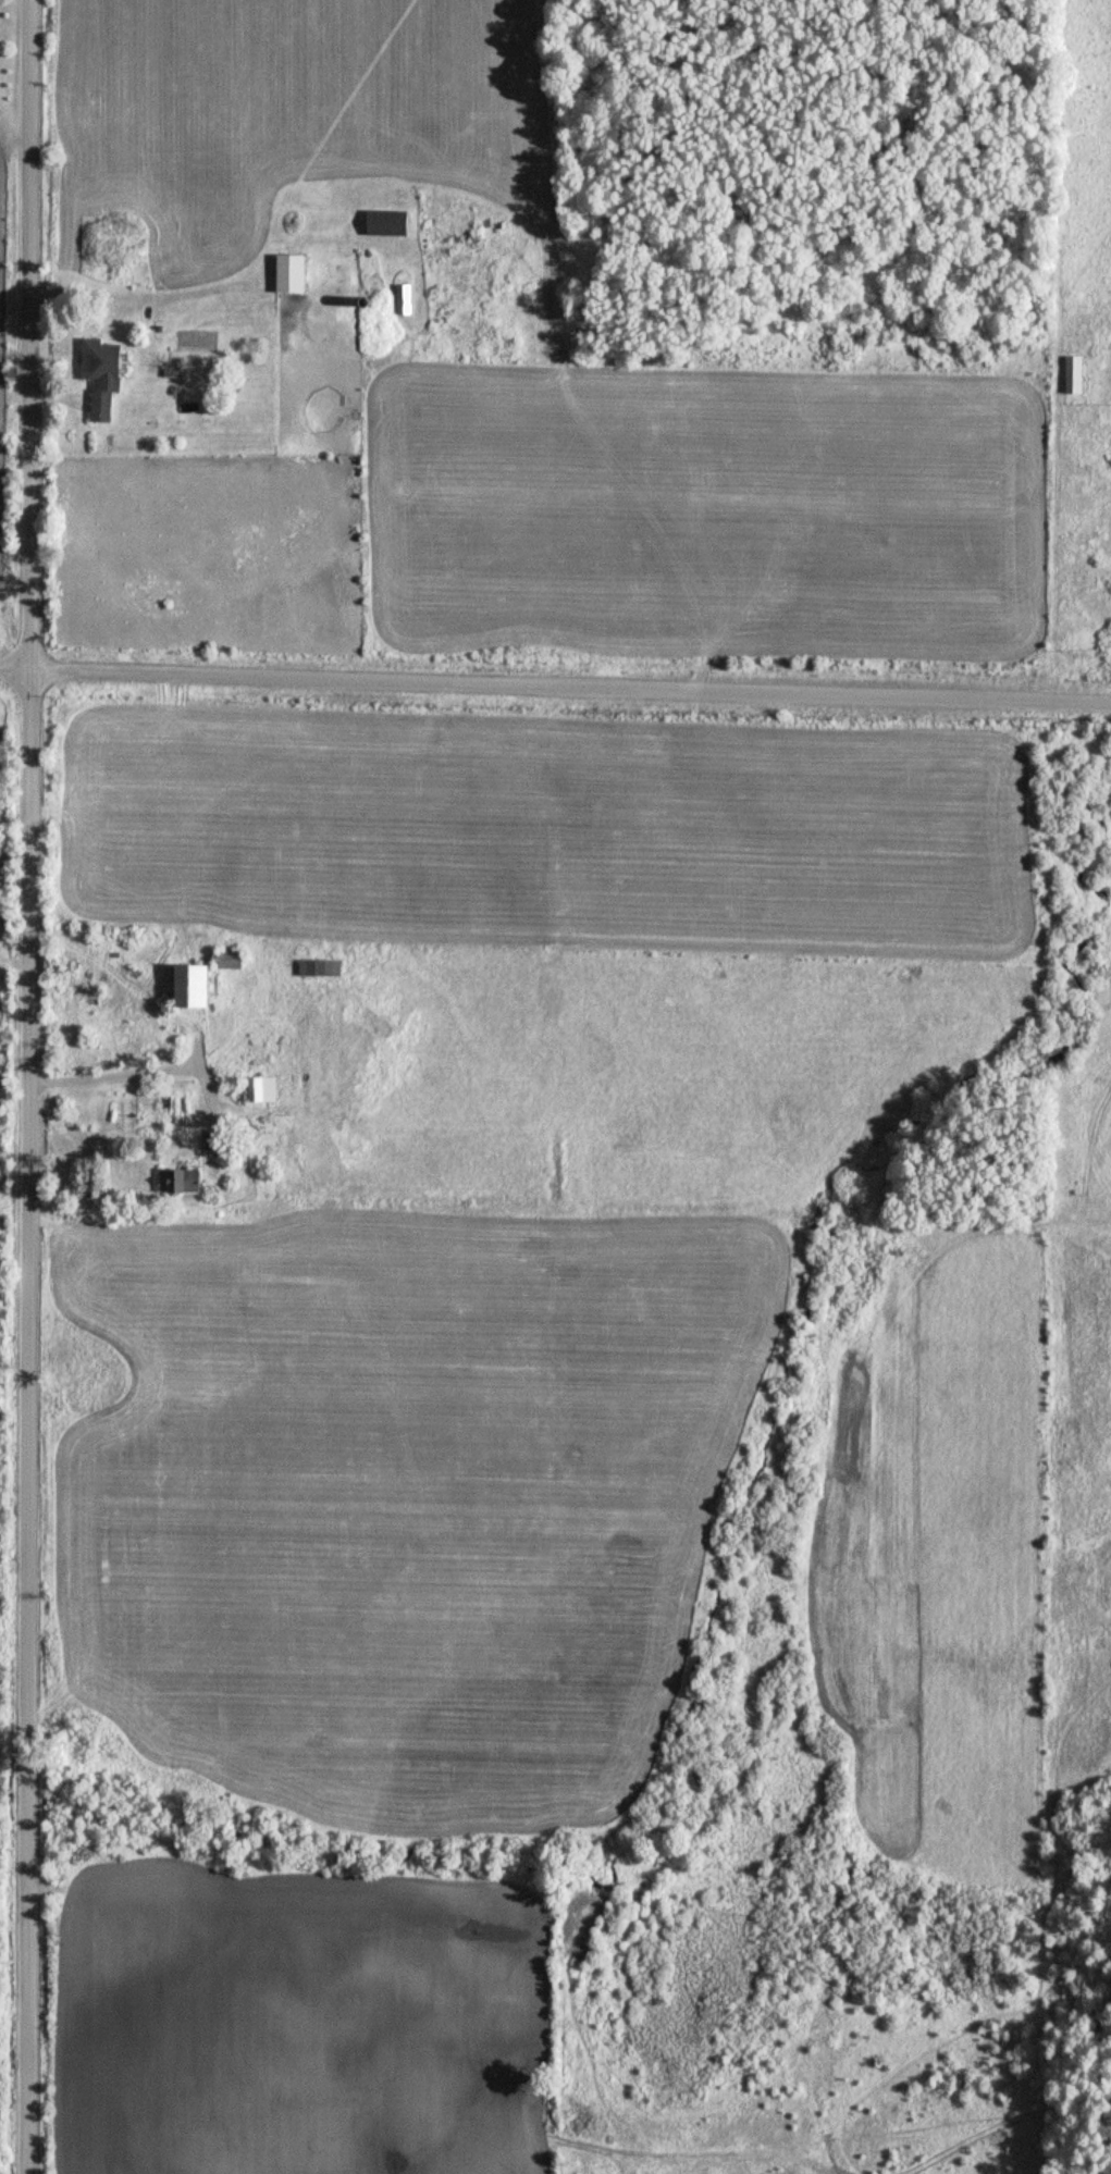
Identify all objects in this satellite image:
building: (390, 223)
building: (407, 299)
building: (107, 374)
building: (1077, 374)
road: (555, 685)
building: (322, 967)
building: (199, 987)
road: (32, 1087)
building: (266, 1089)
building: (217, 1142)
building: (183, 1181)

